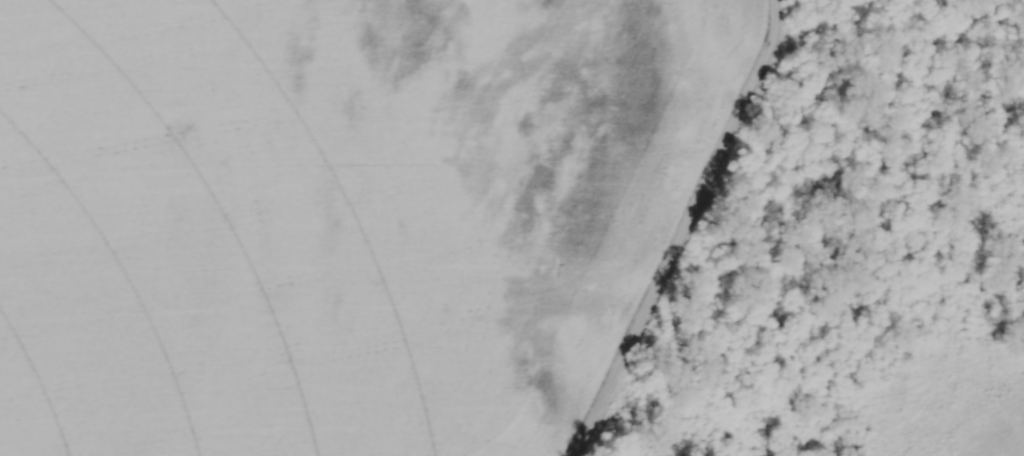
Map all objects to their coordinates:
crop: (330, 216)
road: (684, 230)

